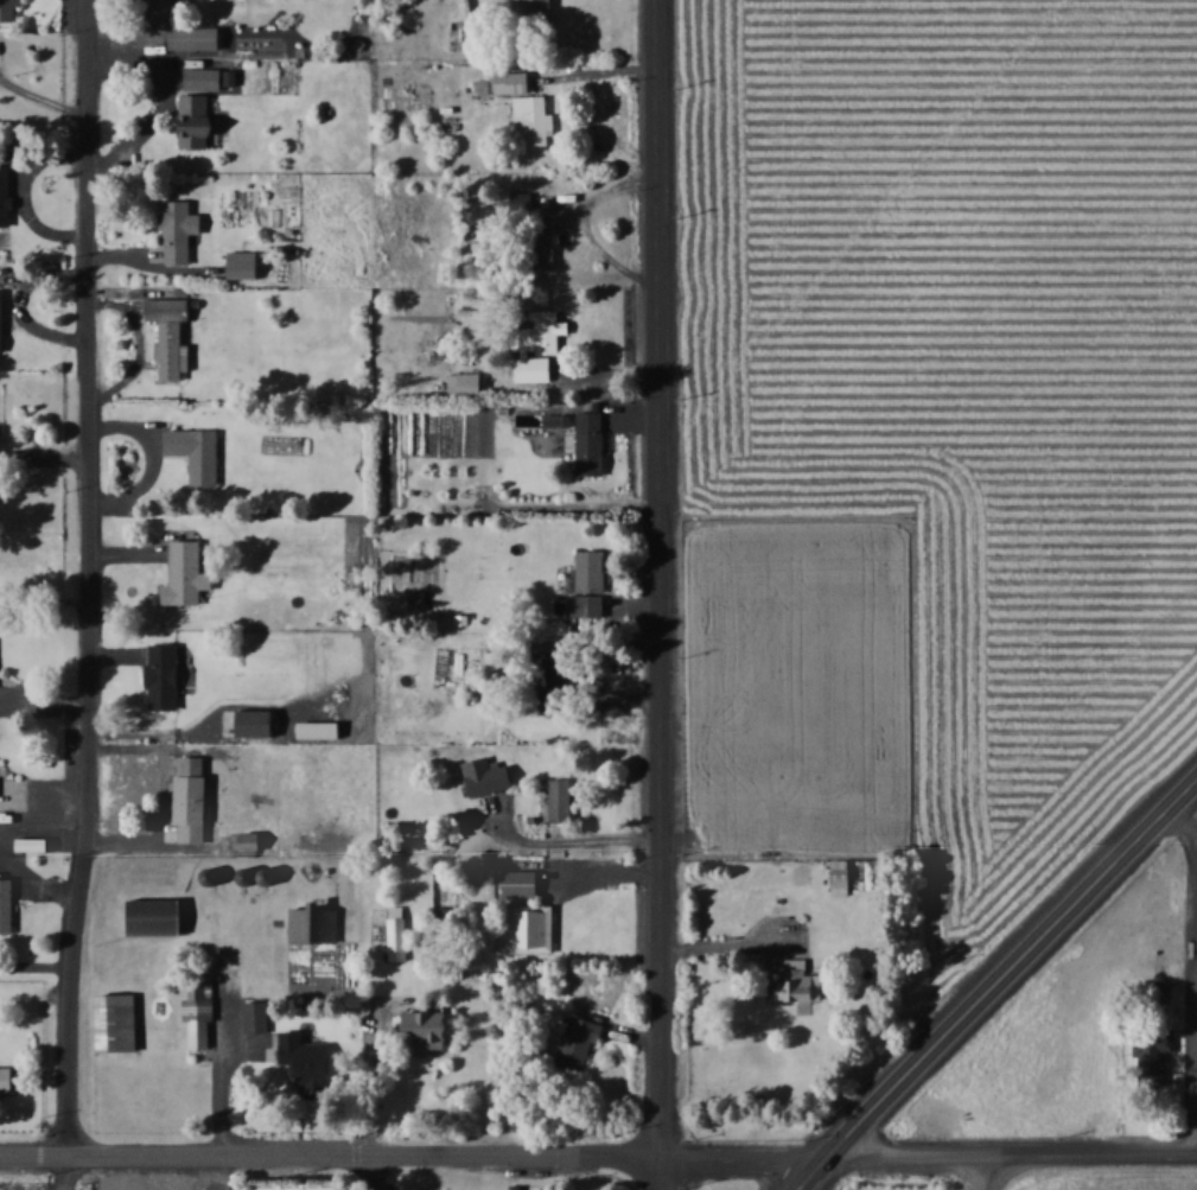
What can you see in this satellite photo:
building: (9, 9)
building: (161, 11)
building: (536, 14)
building: (197, 37)
building: (508, 82)
building: (200, 107)
building: (533, 120)
building: (6, 195)
building: (522, 204)
building: (179, 230)
building: (543, 244)
building: (244, 265)
building: (2, 322)
building: (172, 333)
building: (535, 343)
crop: (959, 377)
building: (469, 383)
building: (587, 441)
building: (192, 452)
building: (187, 574)
road: (85, 578)
building: (588, 585)
road: (656, 594)
building: (164, 676)
crop: (787, 681)
building: (560, 692)
building: (257, 724)
building: (320, 730)
building: (484, 777)
building: (559, 798)
building: (193, 808)
building: (249, 841)
building: (841, 877)
building: (522, 886)
building: (7, 905)
building: (157, 916)
building: (314, 923)
building: (528, 931)
building: (397, 933)
road: (1012, 975)
building: (802, 981)
building: (199, 1013)
building: (117, 1022)
building: (428, 1029)
building: (580, 1043)
building: (1154, 1062)
building: (7, 1081)
road: (329, 1152)
road: (743, 1153)
road: (1012, 1154)
road: (381, 1171)
road: (810, 1172)
road: (981, 1172)
crop: (1113, 1182)
parking lot: (45, 1183)

